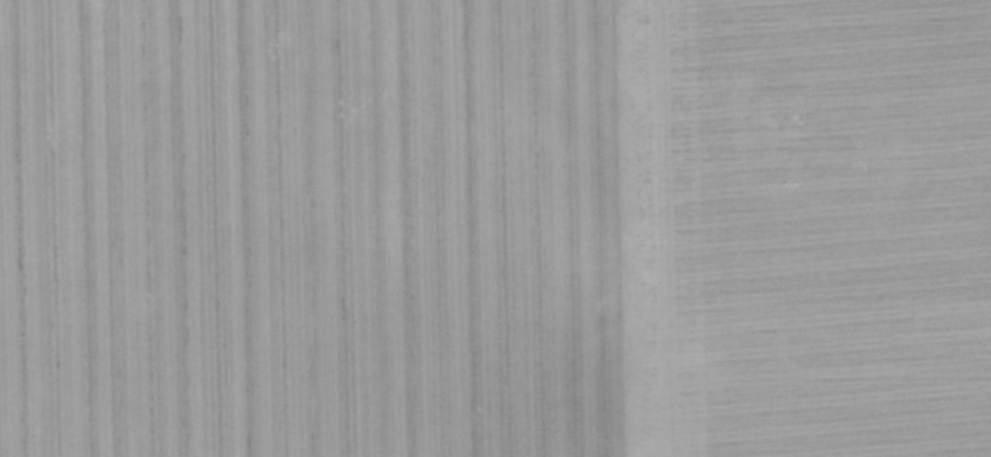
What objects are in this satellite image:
crop: (495, 228)

